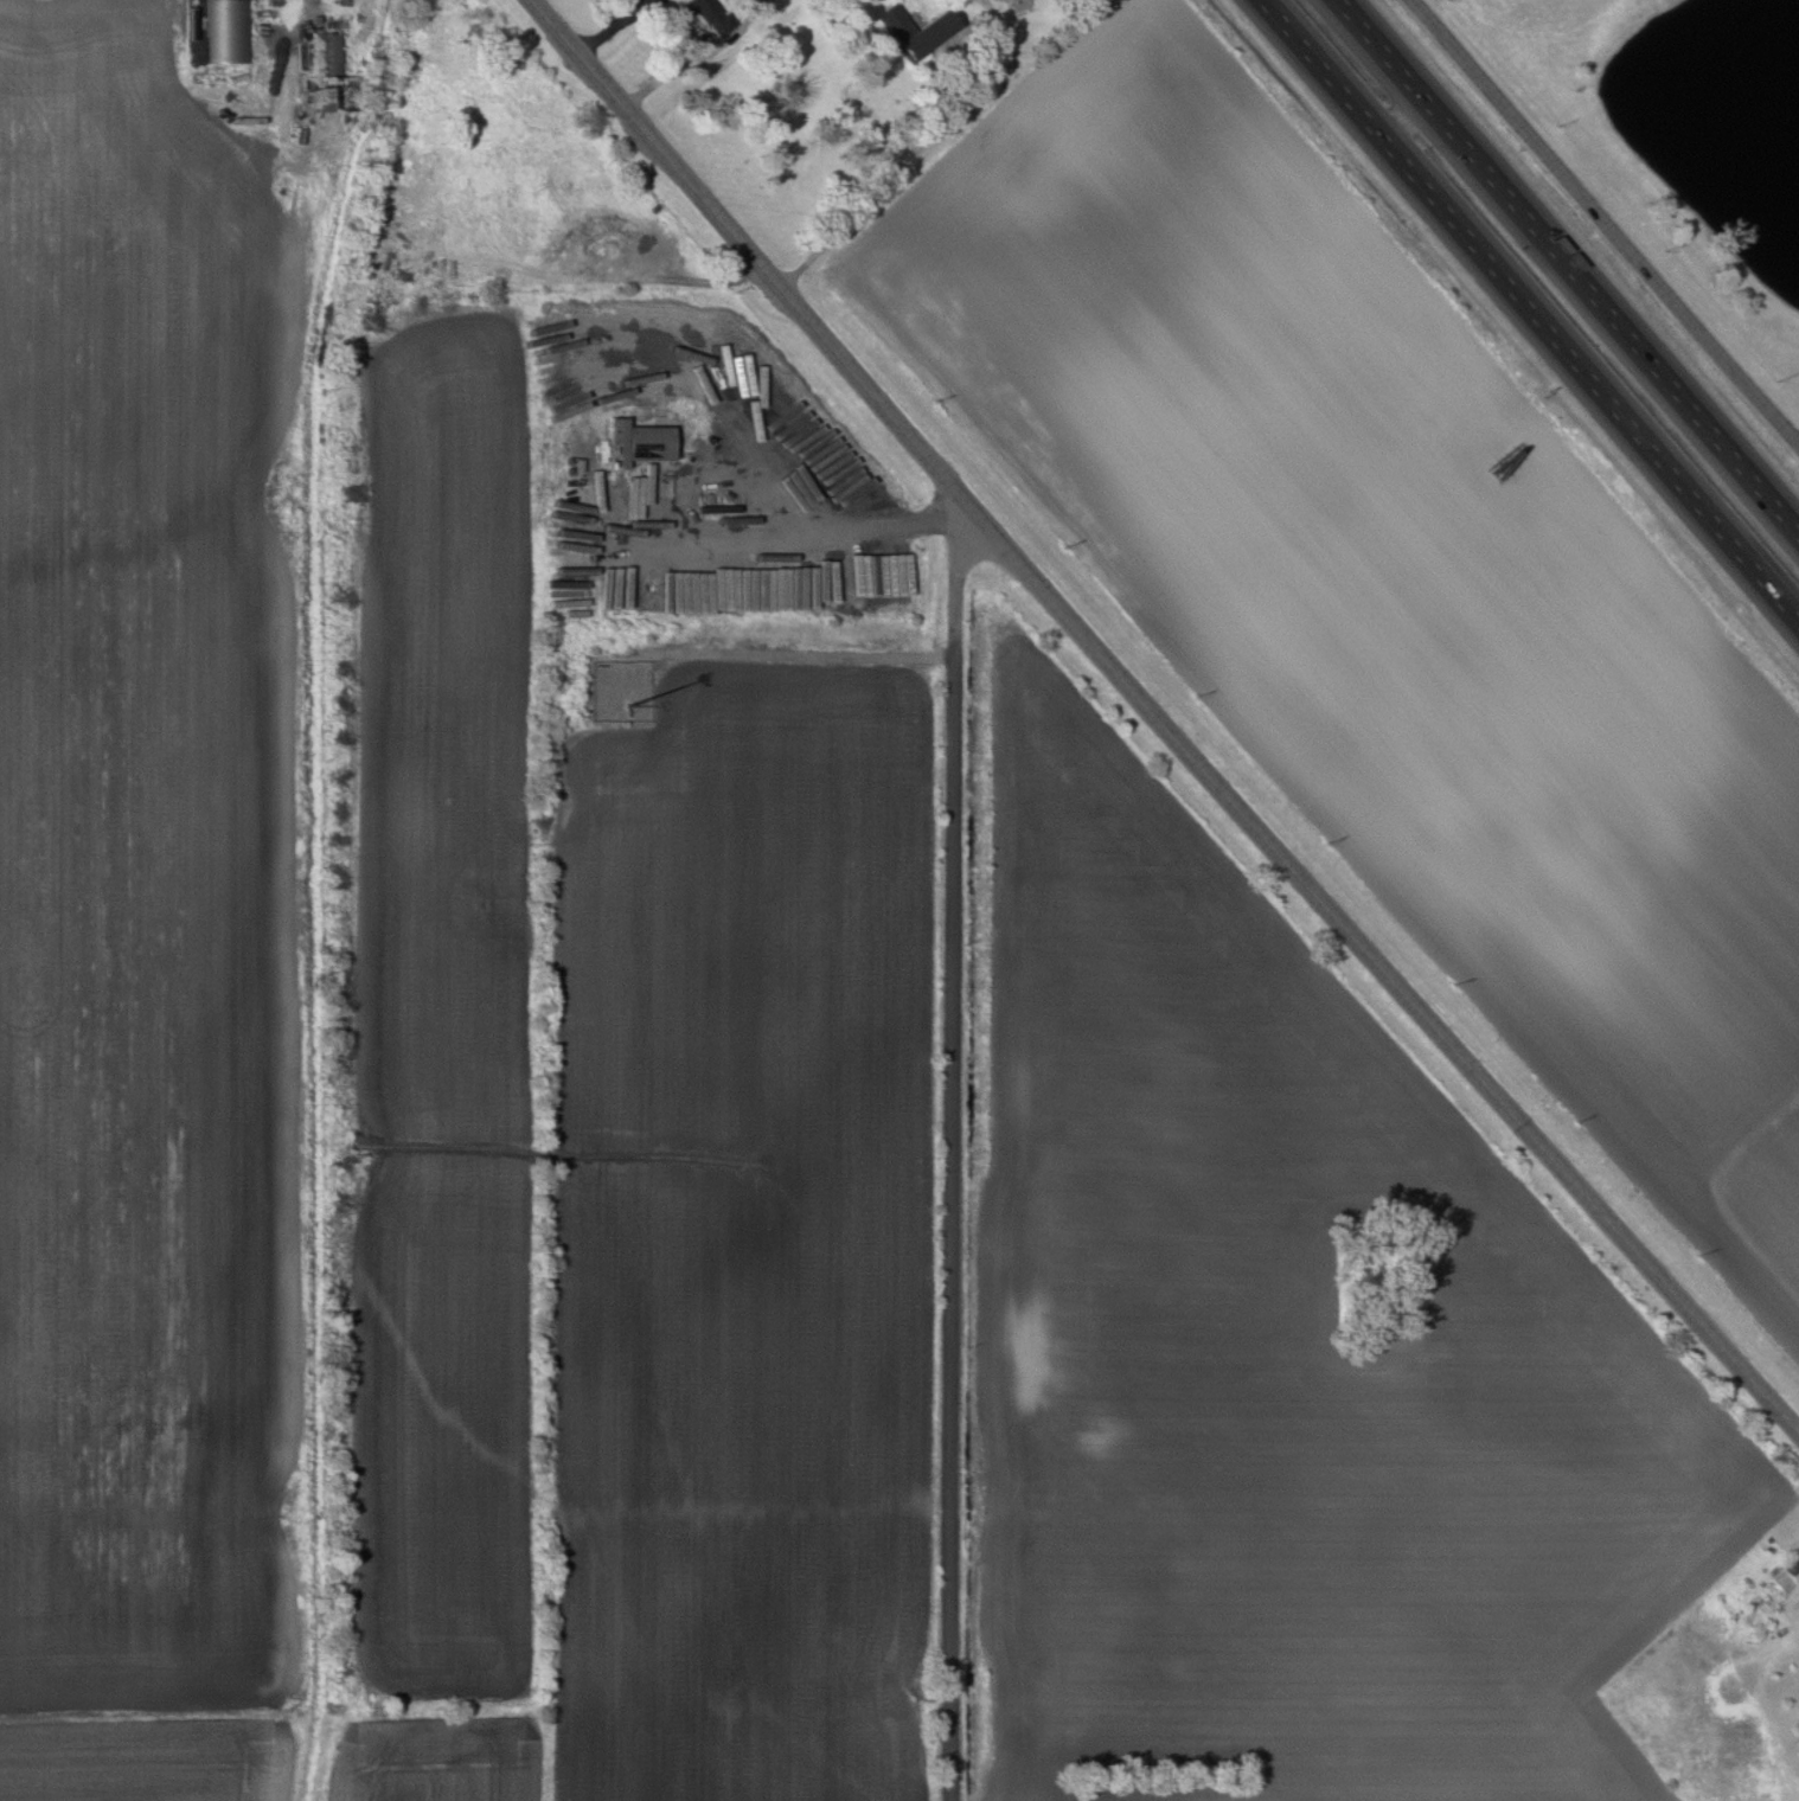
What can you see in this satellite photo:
building: (692, 6)
building: (911, 28)
building: (228, 31)
building: (329, 53)
building: (310, 90)
road: (1406, 122)
road: (910, 155)
road: (1605, 222)
road: (1567, 267)
road: (1529, 312)
building: (634, 442)
road: (785, 531)
road: (955, 575)
road: (801, 652)
road: (1159, 720)
road: (950, 1226)

